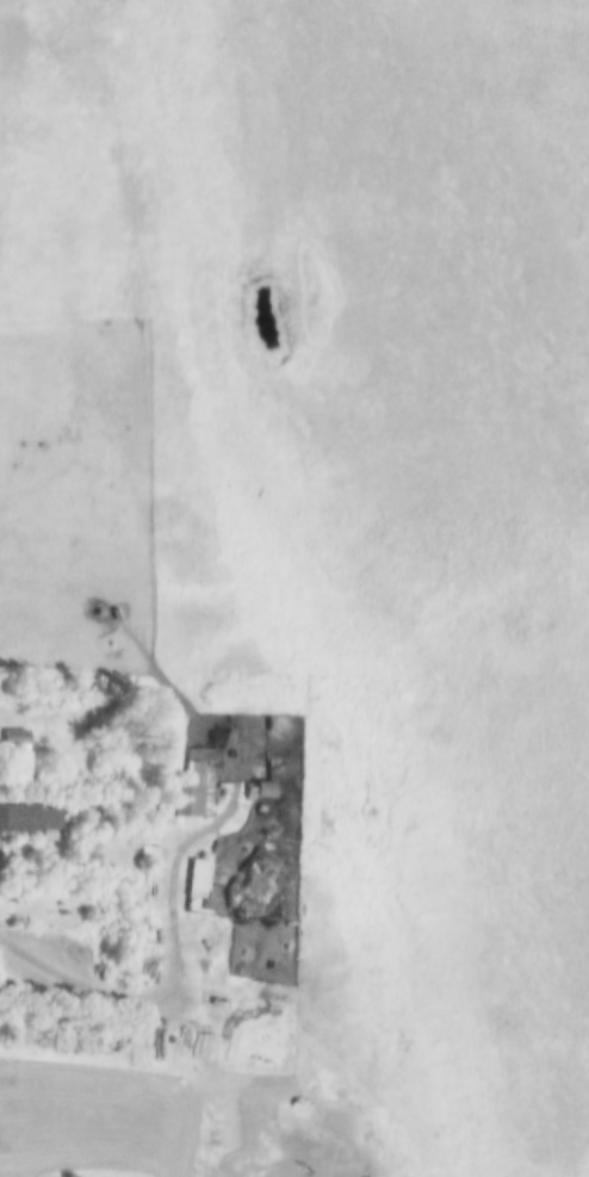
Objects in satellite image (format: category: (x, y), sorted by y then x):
building: (271, 788)
building: (200, 794)
building: (35, 818)
building: (159, 854)
building: (205, 876)
building: (219, 921)
road: (175, 974)

